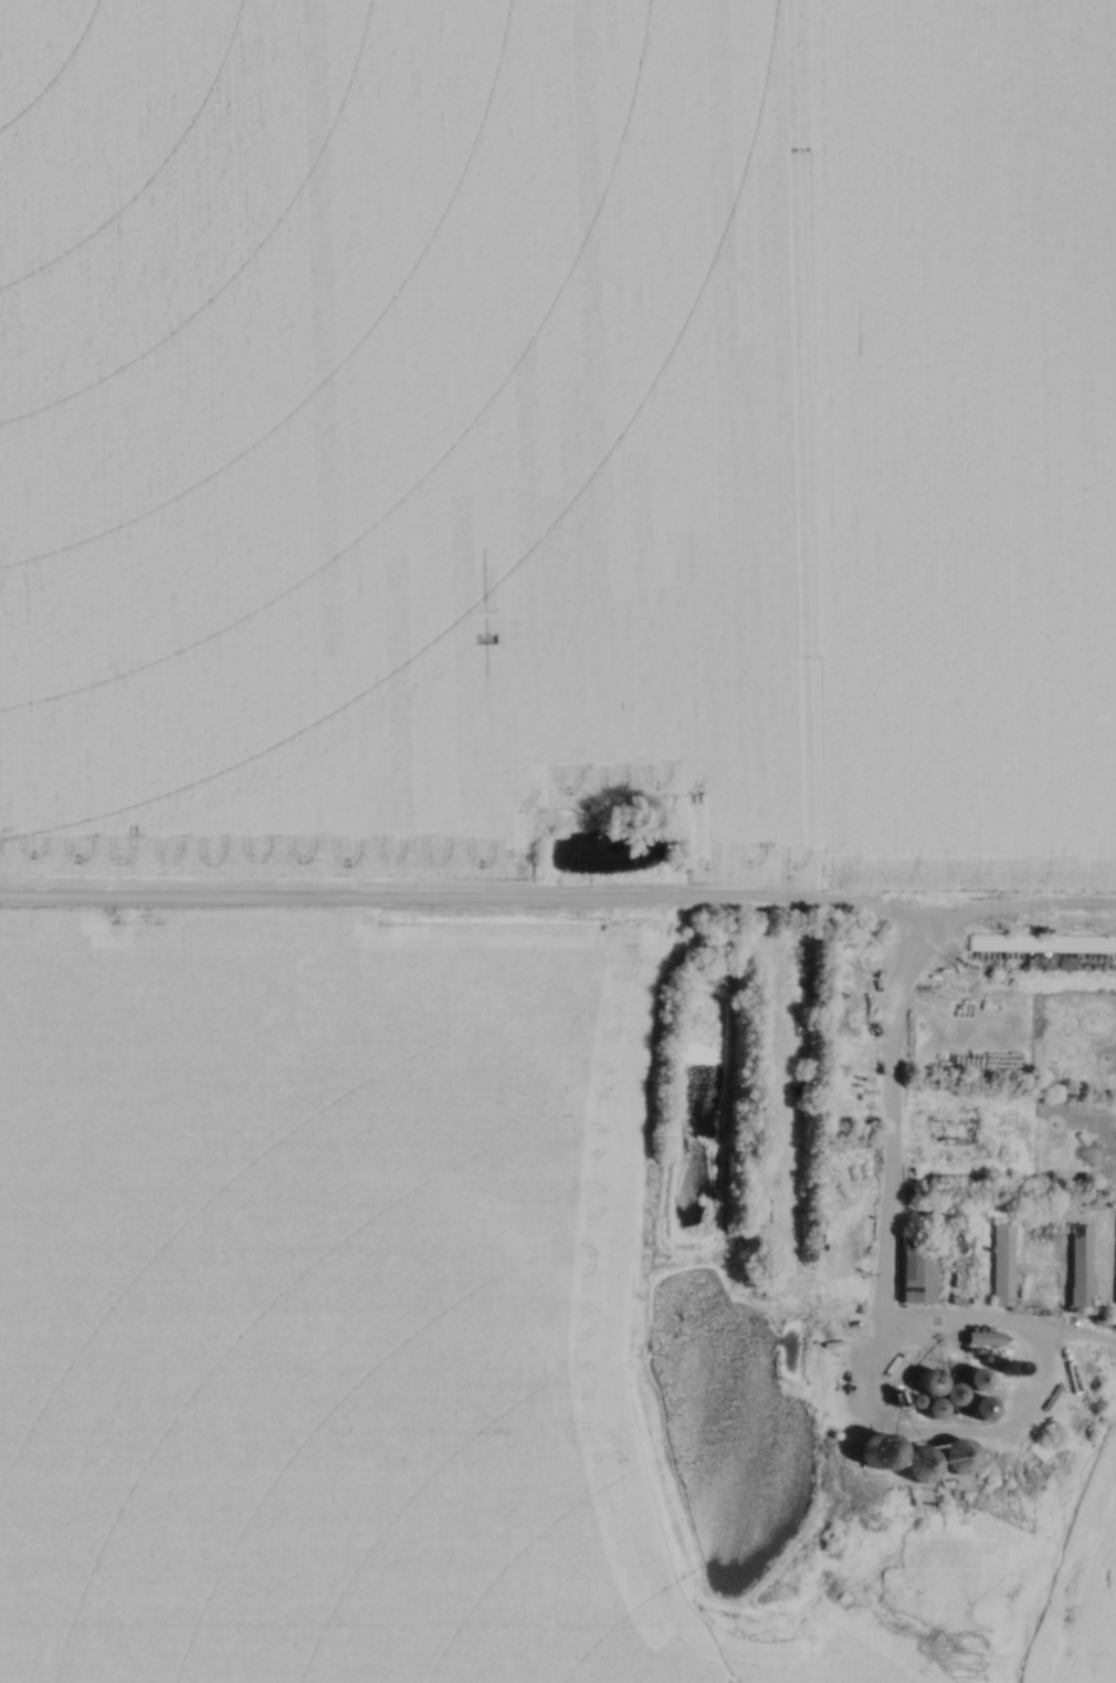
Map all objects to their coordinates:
road: (699, 907)
building: (980, 942)
building: (1091, 945)
building: (1053, 963)
building: (756, 1182)
building: (752, 1211)
building: (754, 1237)
building: (961, 1265)
building: (1001, 1265)
building: (1080, 1267)
building: (916, 1272)
building: (983, 1339)
building: (970, 1383)
building: (925, 1388)
building: (950, 1398)
building: (909, 1405)
building: (976, 1412)
building: (928, 1413)
building: (1041, 1449)
building: (951, 1461)
building: (915, 1470)
building: (922, 1498)
building: (960, 1499)

